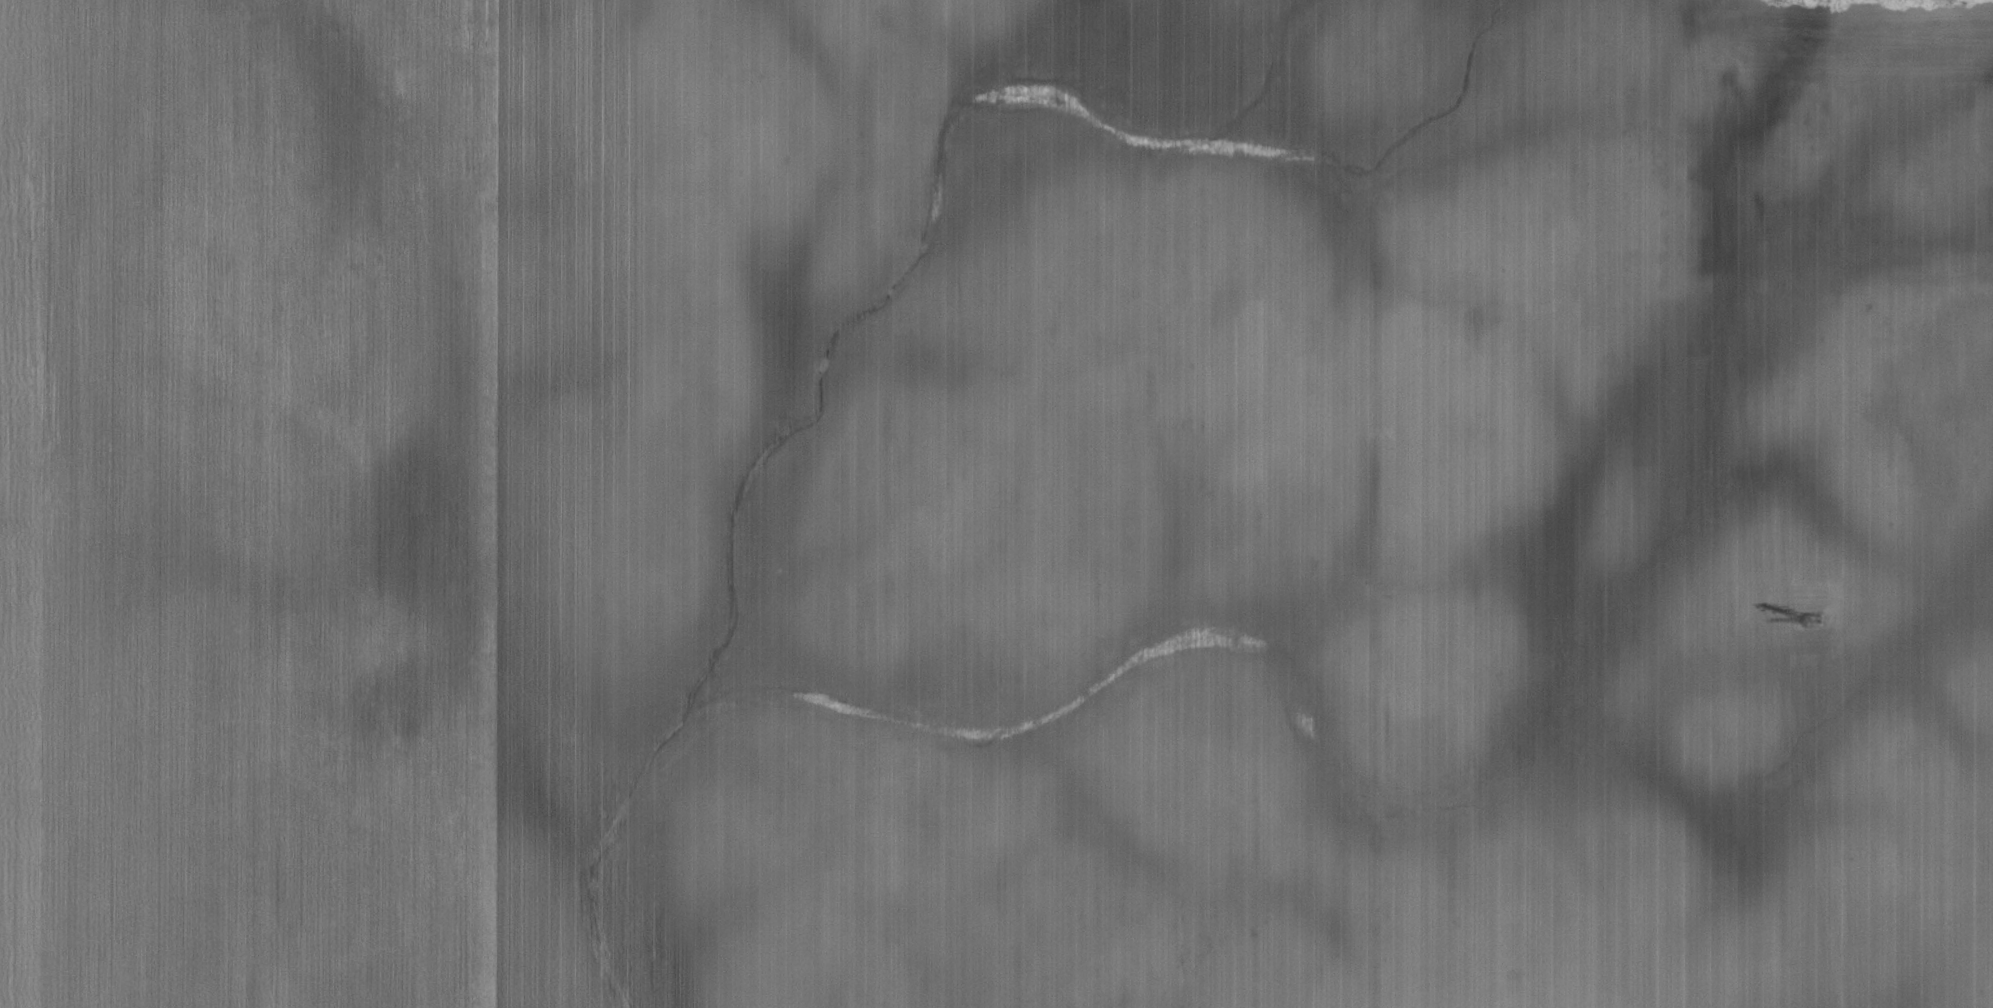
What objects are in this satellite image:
power tower: (1819, 619)

